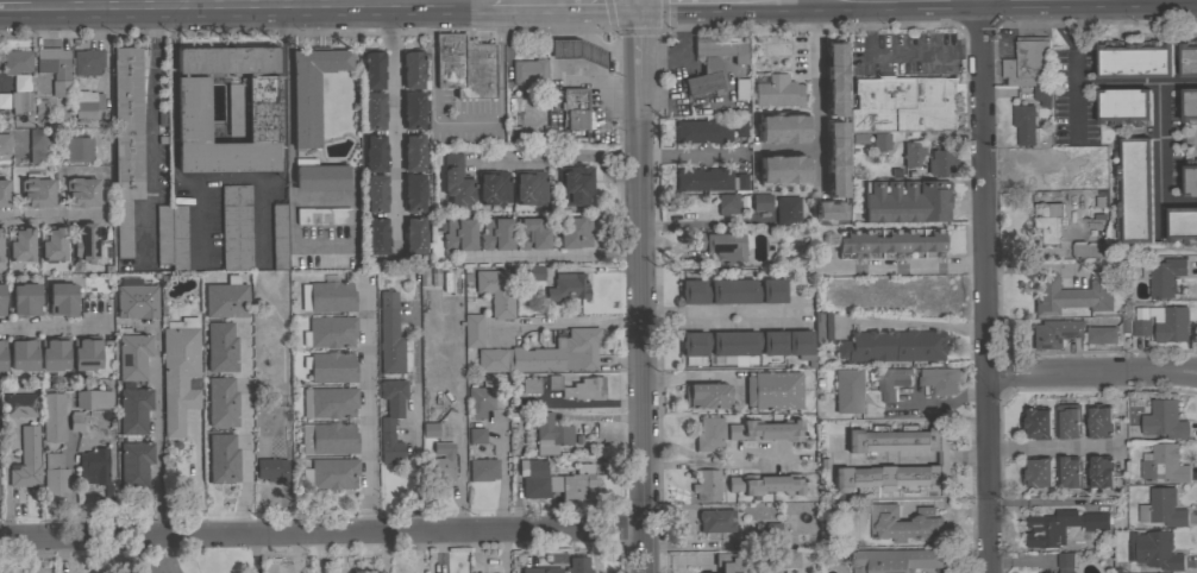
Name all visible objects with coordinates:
road: (1121, 2)
road: (1177, 2)
road: (999, 4)
road: (148, 5)
road: (173, 5)
road: (225, 5)
road: (782, 5)
road: (890, 5)
road: (280, 6)
road: (346, 6)
road: (361, 6)
road: (420, 6)
road: (497, 6)
road: (543, 6)
road: (637, 6)
road: (967, 7)
road: (14, 10)
road: (256, 11)
road: (688, 12)
road: (560, 13)
traffic signals: (638, 13)
road: (1067, 42)
building: (578, 50)
road: (638, 50)
road: (901, 52)
road: (815, 56)
building: (1187, 58)
building: (1134, 59)
building: (17, 61)
building: (88, 61)
building: (714, 62)
building: (1029, 62)
building: (464, 64)
building: (55, 68)
building: (372, 68)
building: (413, 69)
building: (531, 71)
building: (825, 78)
building: (23, 82)
road: (1108, 83)
building: (740, 88)
building: (312, 89)
building: (777, 89)
road: (171, 93)
road: (280, 93)
building: (1042, 94)
building: (5, 100)
building: (88, 102)
building: (890, 103)
building: (942, 103)
building: (1189, 106)
building: (574, 107)
building: (1124, 107)
building: (21, 108)
building: (236, 108)
building: (263, 108)
building: (413, 109)
building: (374, 111)
building: (532, 113)
road: (465, 122)
building: (1024, 124)
building: (740, 127)
road: (393, 128)
building: (772, 128)
building: (703, 131)
road: (151, 133)
building: (803, 133)
building: (838, 138)
building: (126, 139)
building: (566, 139)
building: (880, 141)
building: (5, 143)
building: (40, 144)
building: (77, 147)
building: (414, 151)
building: (375, 152)
building: (913, 152)
road: (559, 155)
road: (687, 155)
road: (1160, 155)
building: (940, 162)
building: (775, 169)
building: (833, 170)
road: (226, 174)
building: (321, 175)
building: (703, 178)
building: (1190, 178)
building: (457, 181)
building: (741, 181)
building: (576, 183)
building: (494, 187)
building: (531, 187)
building: (36, 190)
building: (1134, 190)
building: (4, 191)
building: (81, 191)
building: (414, 191)
building: (375, 193)
building: (907, 200)
road: (1179, 200)
building: (762, 201)
building: (728, 203)
building: (788, 210)
building: (821, 210)
road: (51, 213)
building: (324, 215)
road: (259, 218)
road: (199, 220)
building: (1044, 225)
building: (1182, 225)
building: (237, 226)
building: (574, 232)
building: (415, 233)
building: (496, 233)
building: (531, 233)
building: (171, 234)
building: (459, 234)
building: (280, 235)
building: (377, 235)
building: (86, 241)
building: (20, 243)
building: (52, 243)
building: (890, 243)
building: (0, 244)
building: (720, 245)
building: (1089, 250)
road: (552, 257)
road: (901, 265)
building: (537, 271)
building: (1164, 276)
building: (420, 277)
building: (568, 285)
building: (489, 290)
building: (733, 290)
road: (986, 290)
building: (1072, 292)
building: (331, 296)
building: (2, 298)
building: (62, 298)
building: (136, 298)
building: (26, 300)
building: (225, 300)
road: (641, 309)
road: (716, 315)
road: (570, 322)
road: (57, 323)
building: (1172, 325)
building: (822, 327)
building: (1141, 327)
building: (474, 329)
building: (330, 332)
building: (1054, 332)
building: (389, 334)
building: (1102, 335)
building: (747, 342)
building: (892, 345)
building: (220, 346)
building: (54, 352)
building: (87, 352)
building: (24, 353)
building: (545, 354)
building: (2, 355)
building: (133, 355)
building: (332, 366)
building: (178, 372)
road: (1092, 373)
road: (700, 374)
building: (939, 379)
building: (553, 380)
building: (890, 382)
building: (529, 384)
building: (585, 388)
building: (775, 390)
building: (848, 390)
building: (707, 395)
building: (94, 398)
building: (480, 401)
building: (221, 402)
building: (333, 402)
road: (940, 402)
building: (20, 404)
building: (134, 409)
road: (365, 409)
road: (415, 411)
building: (54, 416)
building: (391, 418)
building: (1164, 420)
building: (75, 421)
building: (1036, 421)
building: (1067, 421)
building: (1099, 422)
road: (243, 429)
building: (430, 429)
building: (765, 429)
road: (157, 430)
building: (551, 430)
building: (709, 433)
building: (477, 435)
building: (334, 437)
road: (1051, 446)
road: (700, 455)
road: (744, 456)
building: (221, 458)
road: (969, 458)
building: (26, 459)
road: (892, 459)
road: (944, 459)
building: (440, 461)
building: (944, 461)
building: (134, 464)
building: (1165, 464)
building: (95, 468)
building: (272, 468)
building: (483, 468)
building: (1099, 471)
building: (333, 472)
building: (1036, 472)
building: (1068, 472)
building: (54, 478)
building: (557, 481)
building: (766, 483)
building: (707, 484)
building: (1162, 509)
building: (758, 511)
building: (716, 520)
building: (903, 523)
building: (1061, 527)
road: (322, 534)
building: (769, 535)
road: (703, 542)
building: (1154, 550)
road: (646, 552)
road: (139, 554)
road: (251, 554)
building: (895, 560)
building: (1065, 562)
building: (576, 565)
building: (717, 566)
building: (540, 569)

